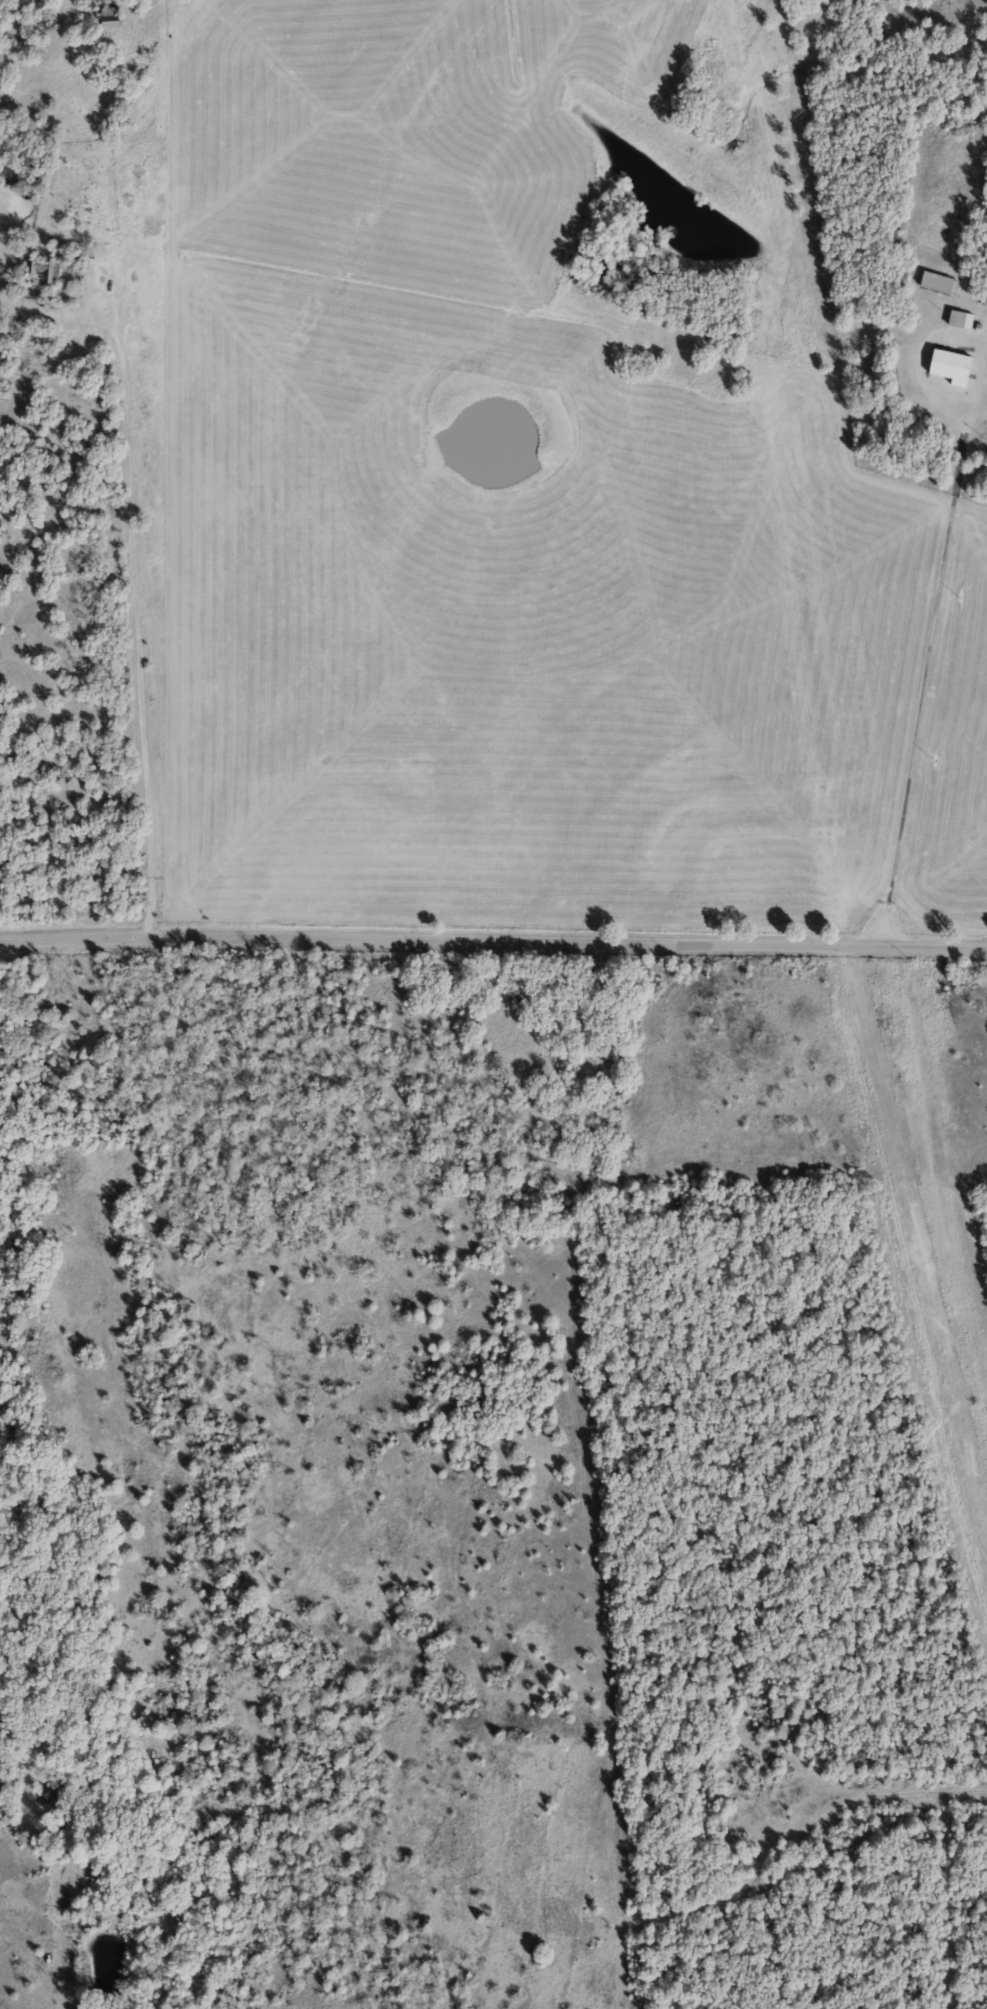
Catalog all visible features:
building: (109, 18)
building: (42, 272)
building: (938, 283)
building: (960, 319)
building: (949, 367)
road: (132, 618)
road: (931, 680)
road: (493, 943)
road: (754, 1845)

